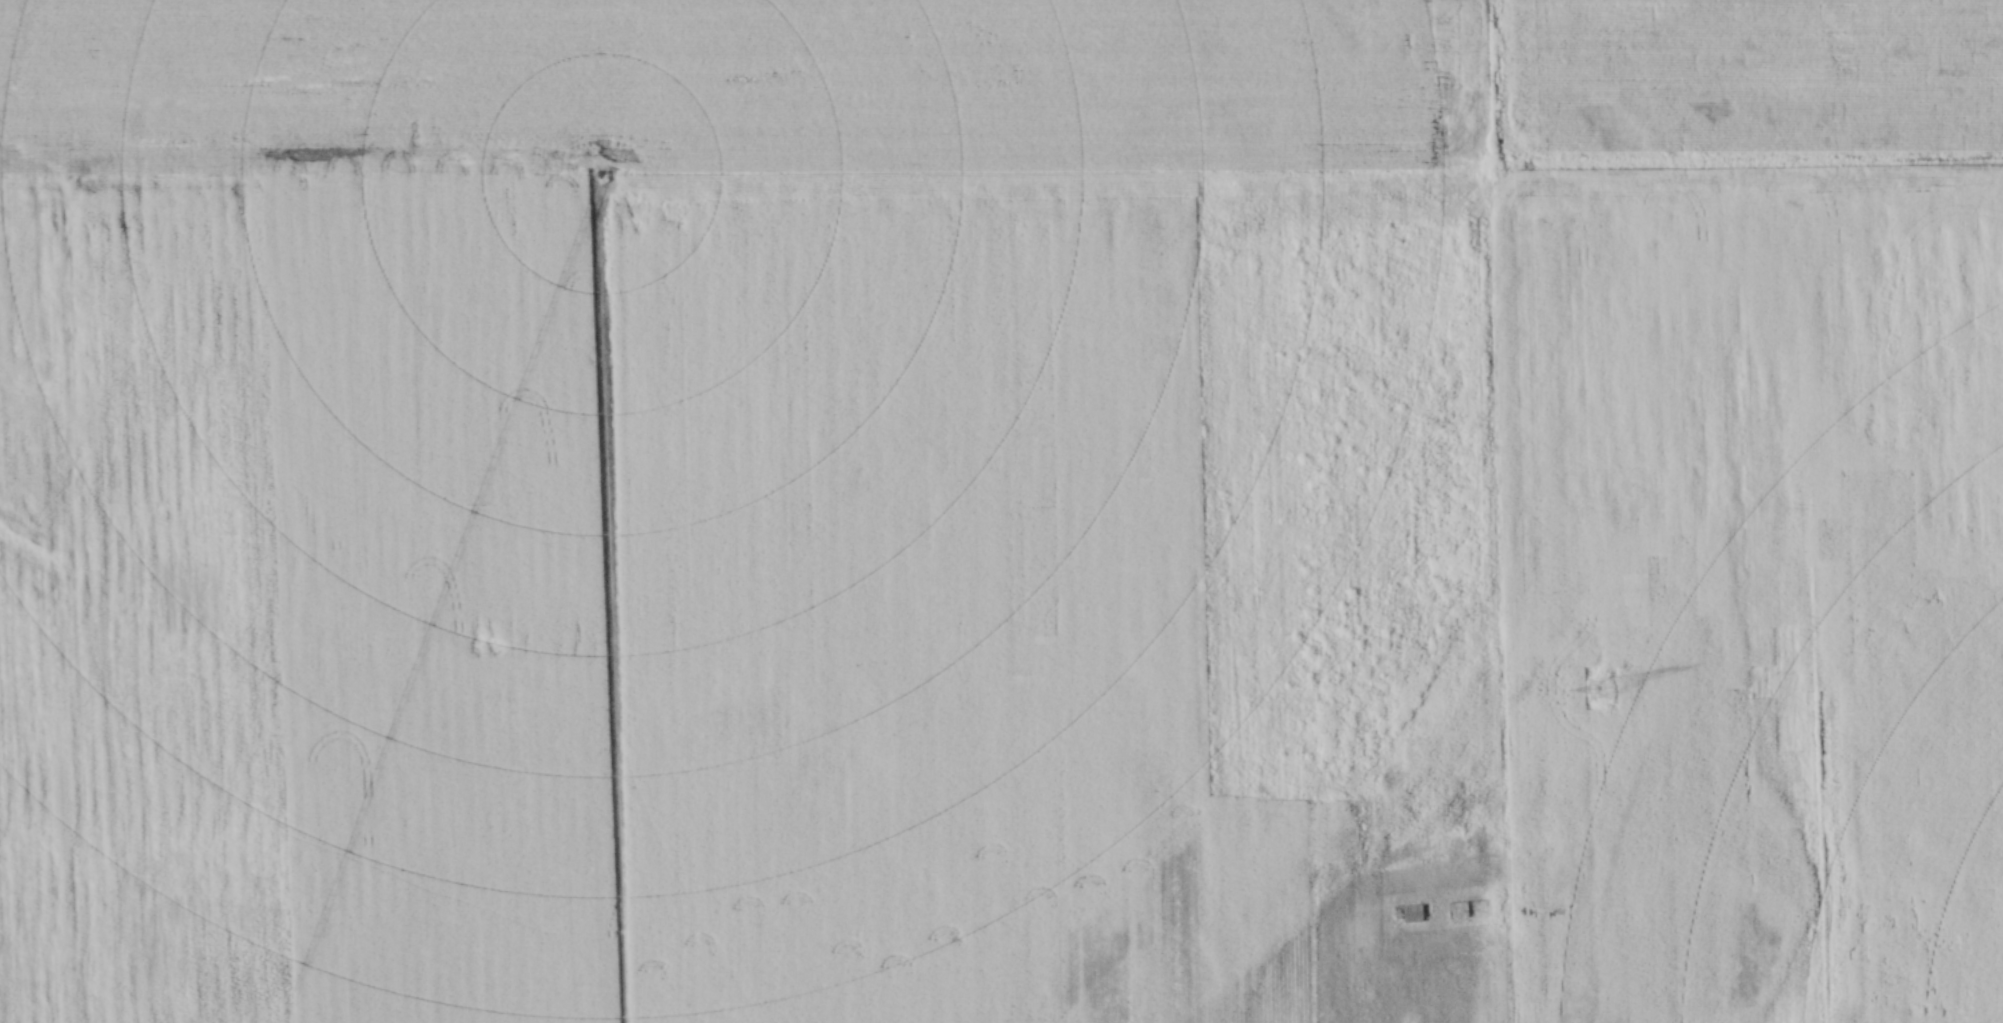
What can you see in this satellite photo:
power tower: (1602, 691)
building: (1403, 915)

